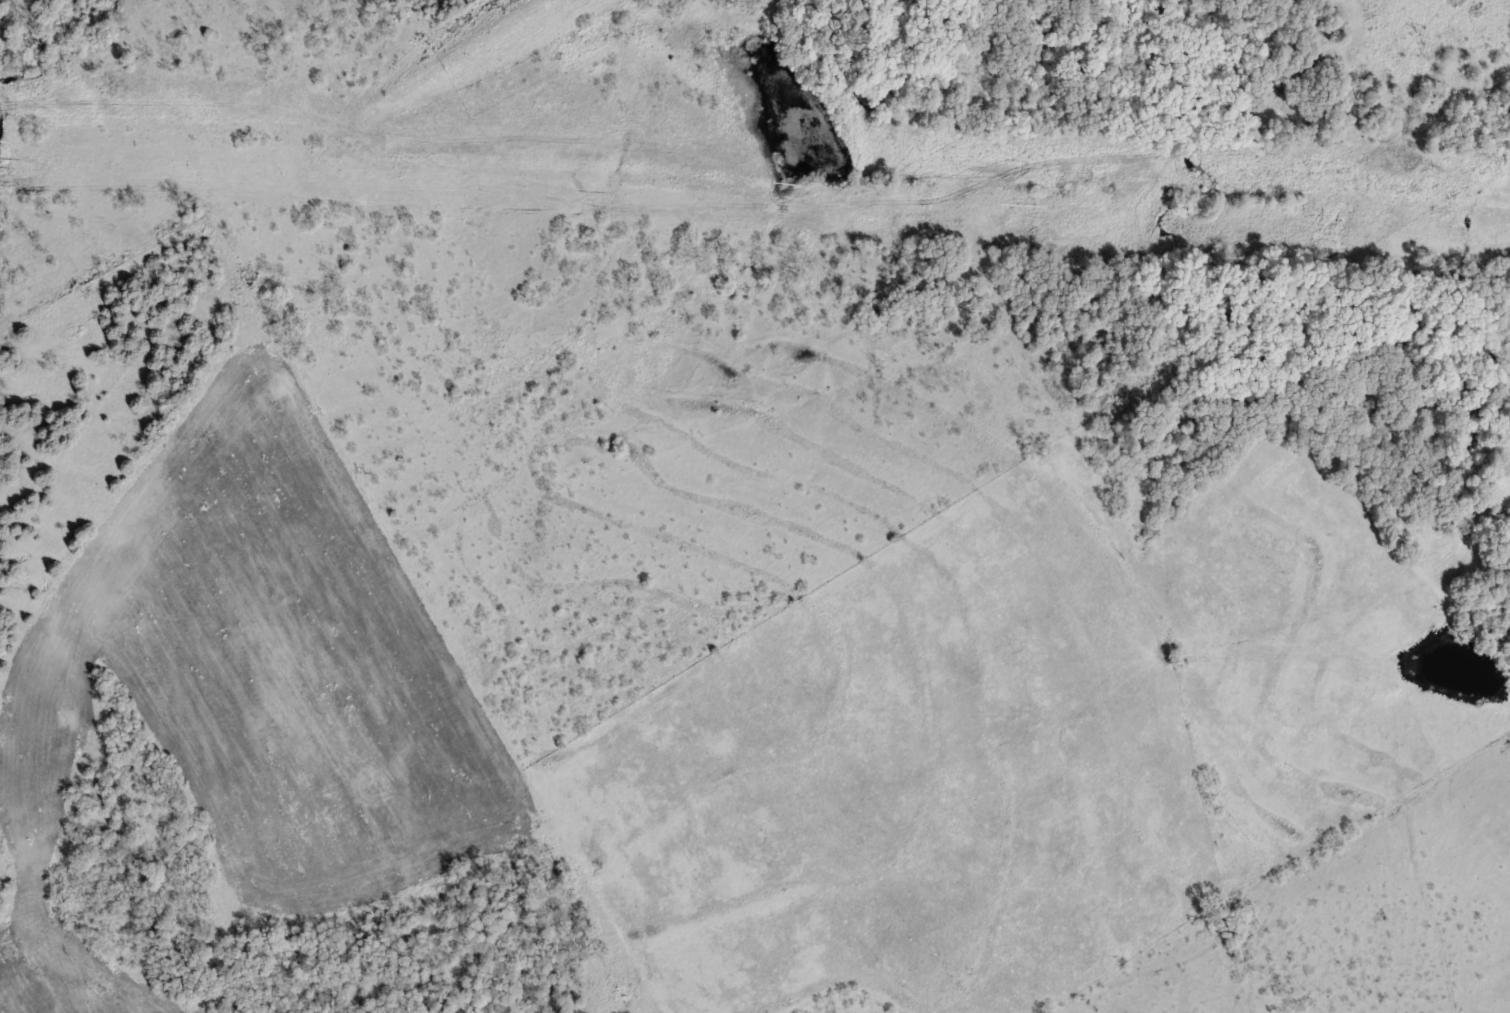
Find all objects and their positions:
road: (1436, 579)

